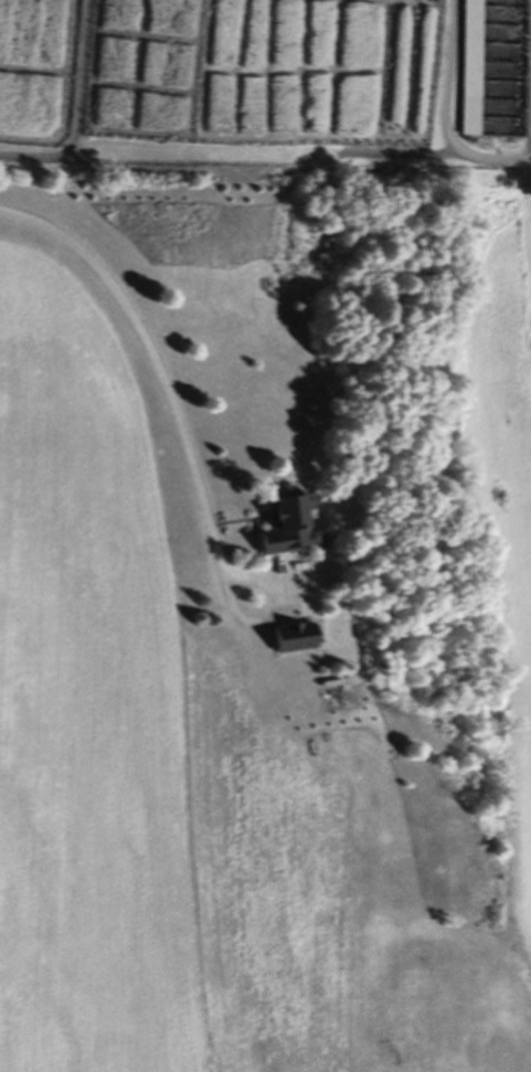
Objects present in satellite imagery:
road: (140, 348)
building: (294, 527)
building: (299, 641)

